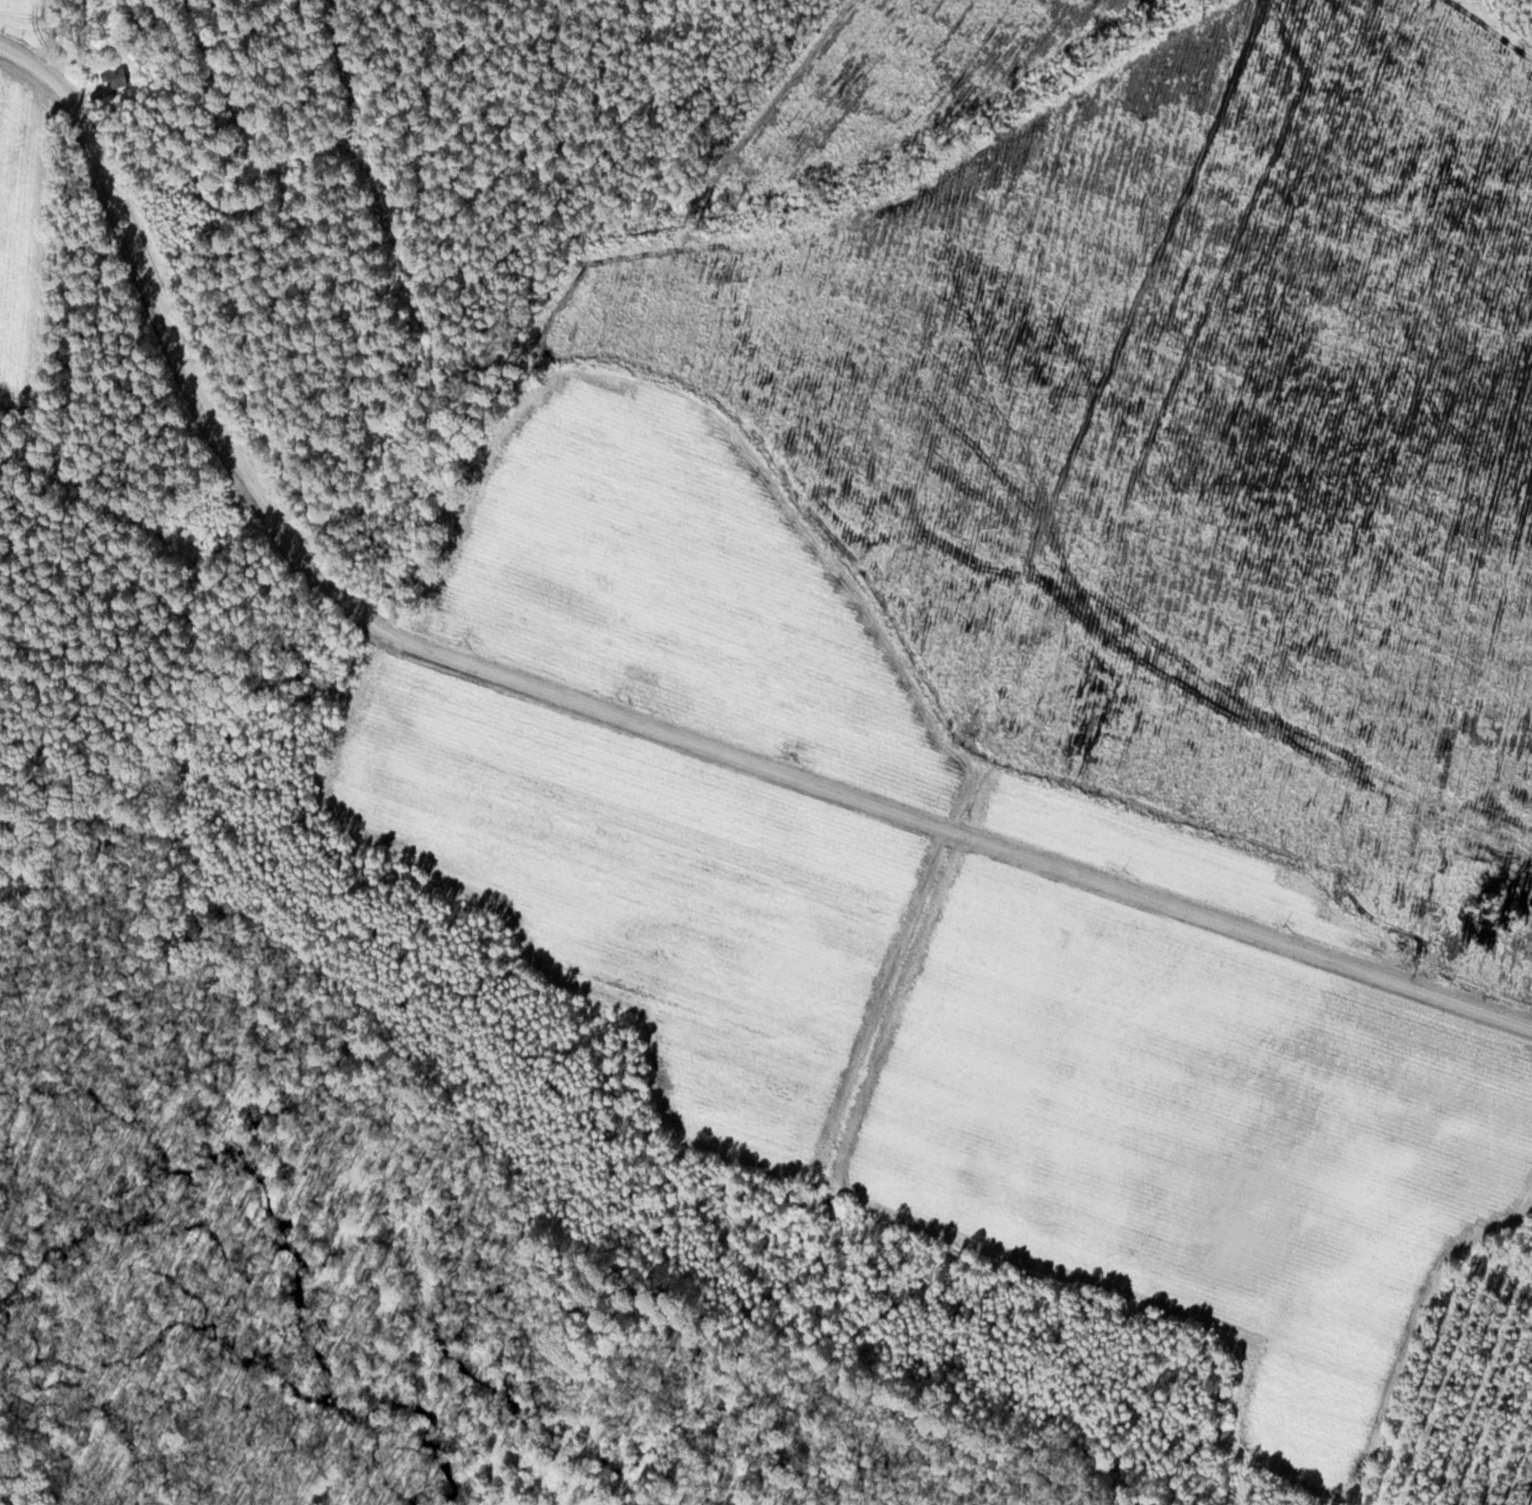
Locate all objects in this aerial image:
road: (619, 714)
river: (236, 1277)
river: (315, 1402)

